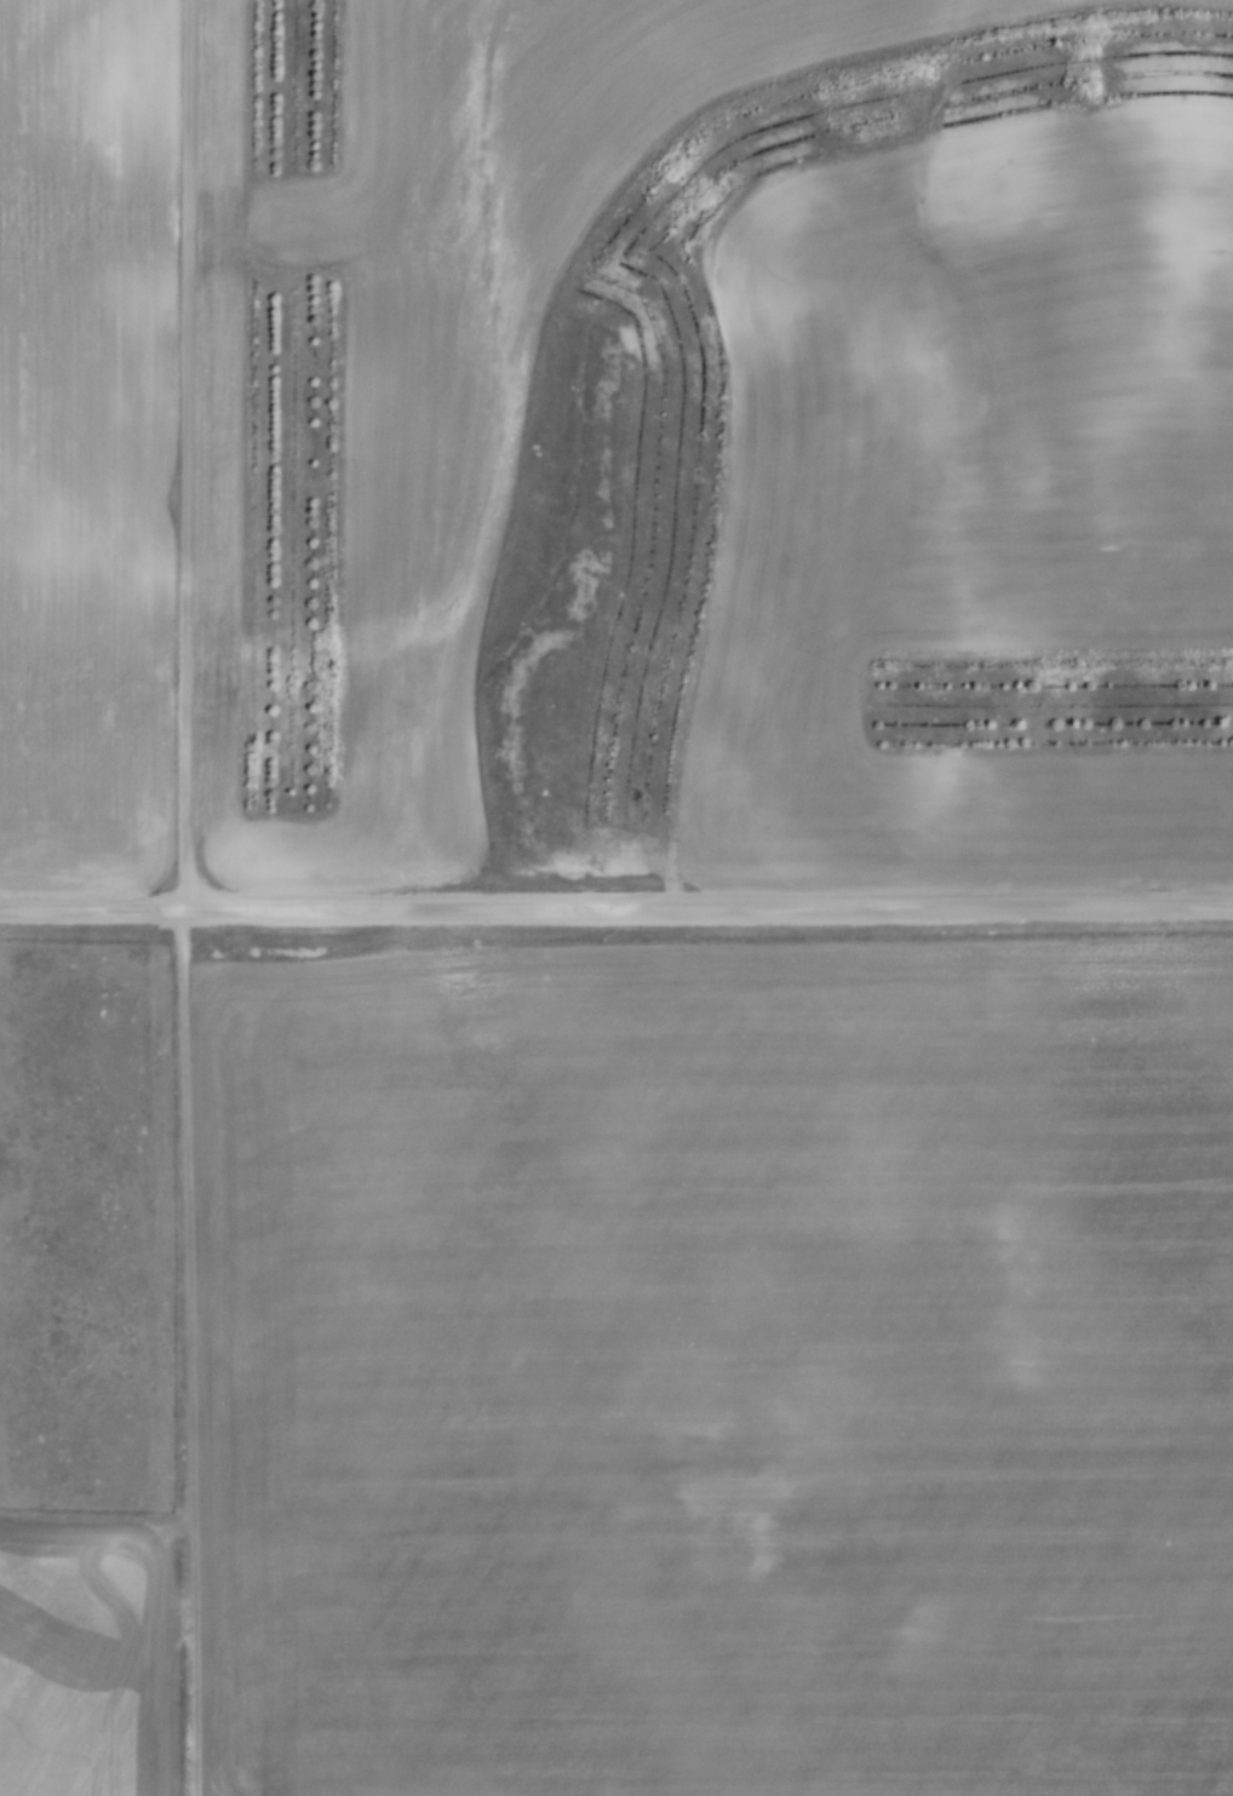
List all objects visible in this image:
road: (196, 455)
road: (616, 912)

